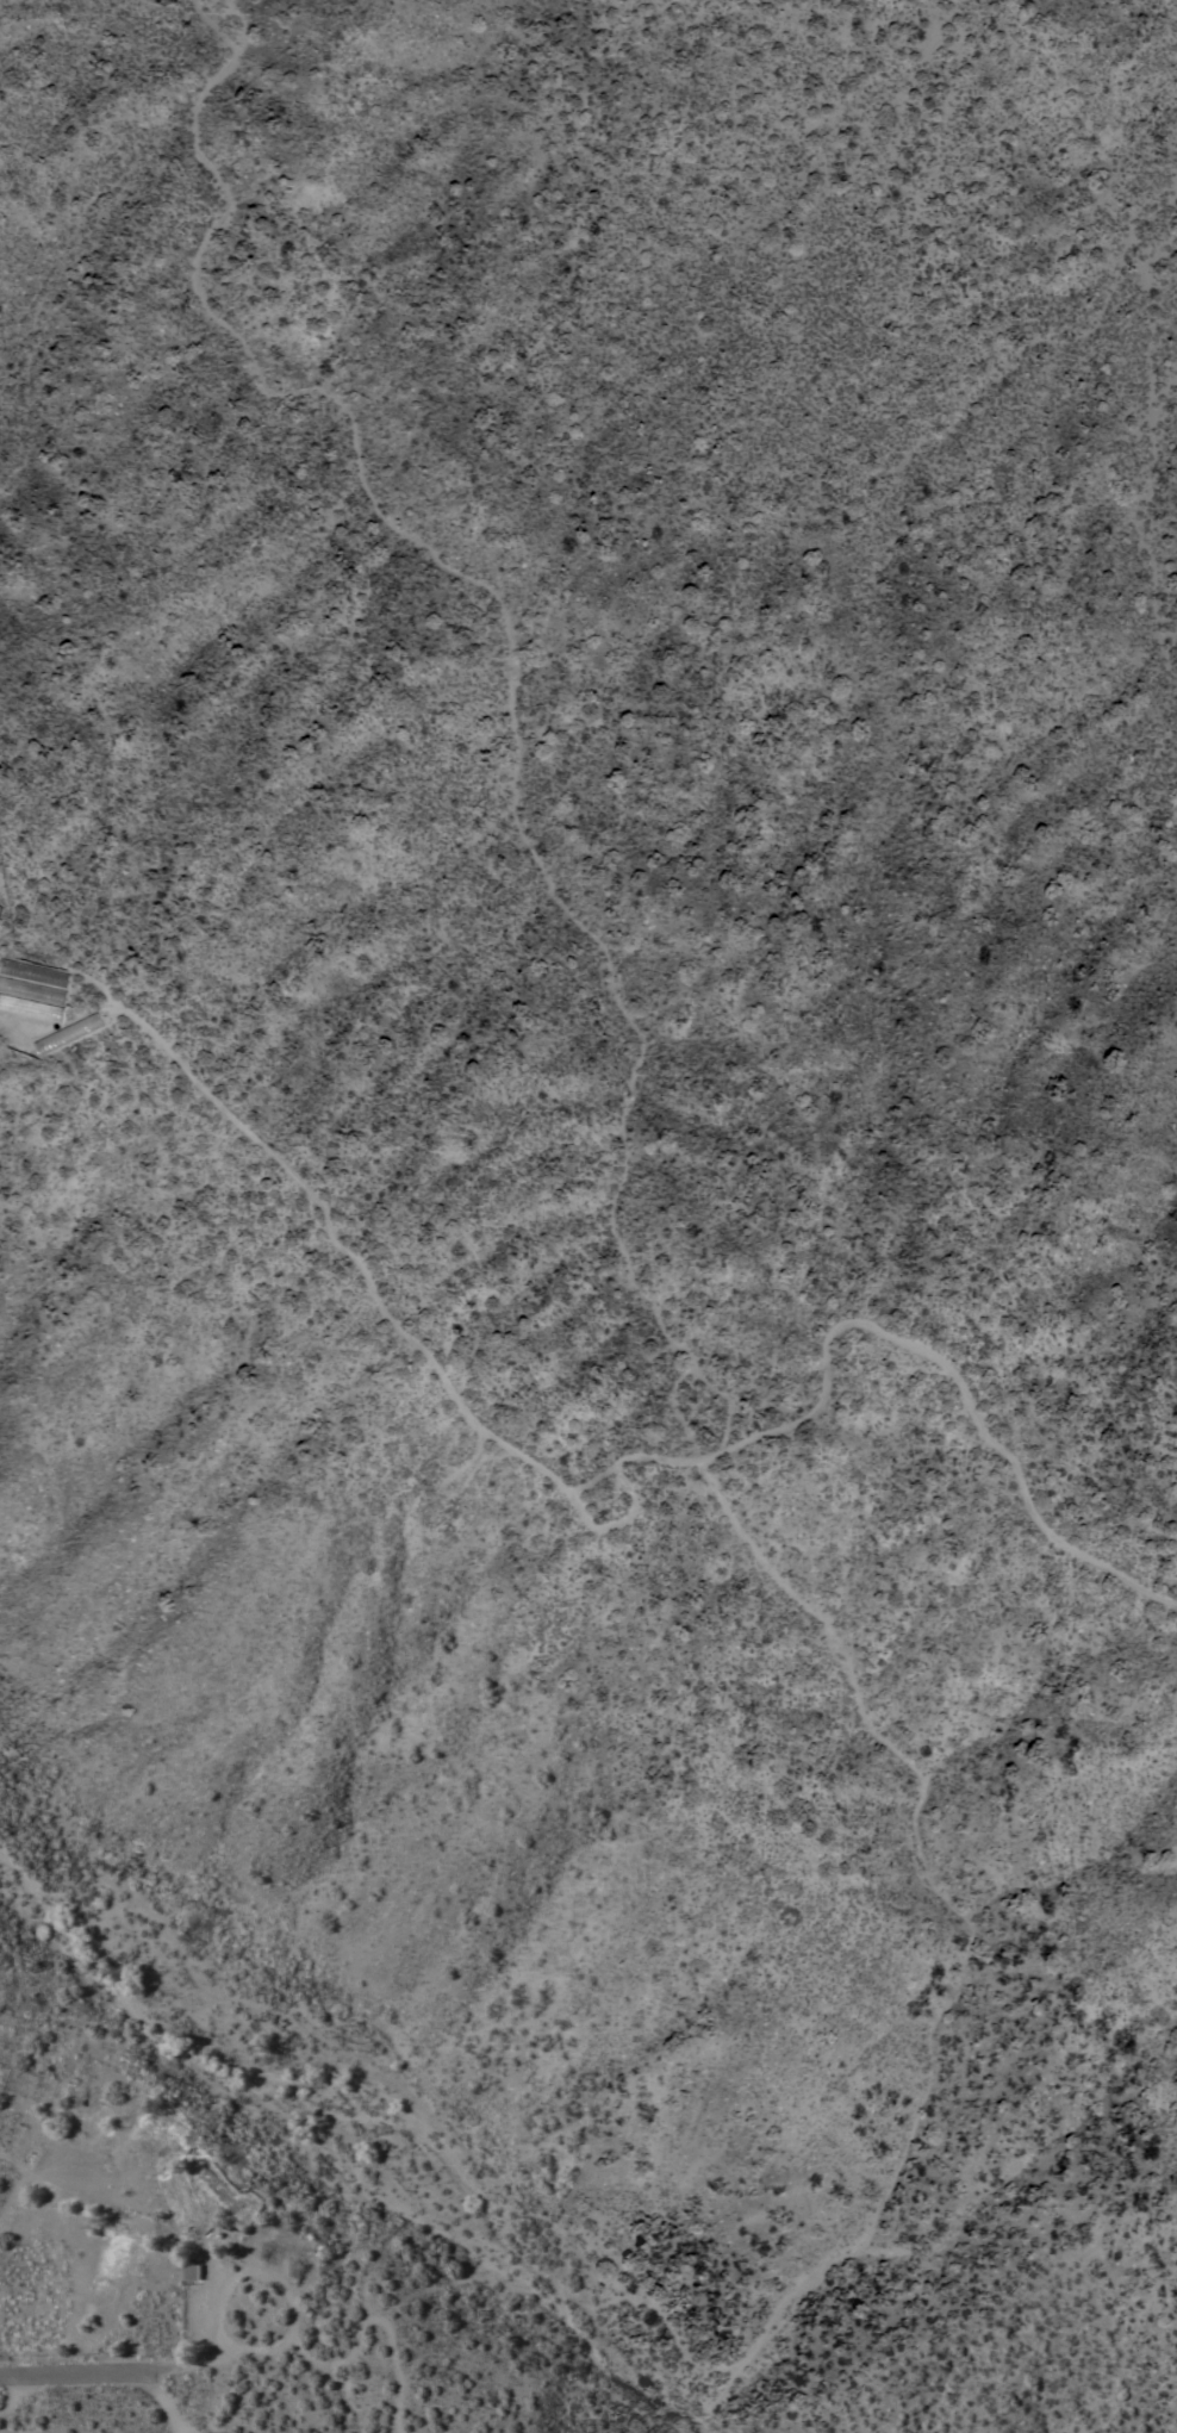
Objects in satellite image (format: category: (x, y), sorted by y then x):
building: (268, 2258)
building: (189, 2272)
road: (67, 2381)
road: (331, 2401)
road: (172, 2407)

